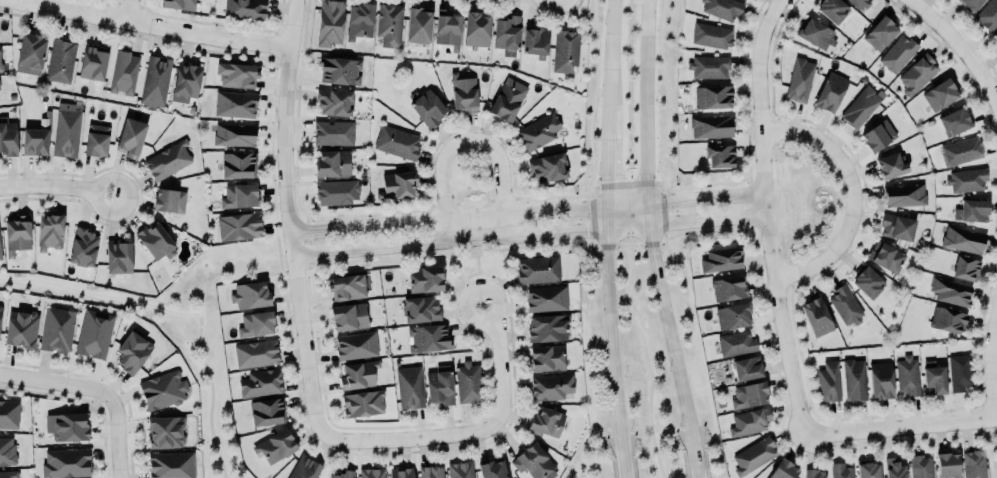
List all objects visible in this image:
building: (859, 3)
building: (178, 4)
building: (971, 4)
building: (245, 8)
building: (723, 8)
road: (126, 9)
building: (833, 9)
building: (988, 15)
building: (359, 20)
building: (330, 22)
road: (151, 23)
building: (418, 24)
building: (389, 25)
building: (447, 27)
building: (477, 29)
building: (816, 33)
building: (881, 33)
building: (507, 34)
building: (712, 34)
building: (995, 36)
building: (535, 40)
road: (959, 48)
building: (565, 50)
building: (30, 53)
building: (898, 53)
building: (0, 60)
building: (61, 60)
road: (610, 60)
building: (93, 62)
building: (709, 66)
building: (340, 70)
building: (124, 72)
building: (237, 74)
building: (918, 74)
building: (800, 79)
building: (156, 80)
building: (186, 81)
building: (831, 91)
building: (463, 93)
building: (940, 94)
building: (713, 96)
building: (508, 99)
building: (335, 102)
building: (235, 104)
building: (862, 106)
building: (428, 108)
building: (955, 121)
road: (469, 125)
building: (711, 126)
building: (67, 129)
building: (538, 131)
building: (333, 132)
building: (234, 134)
building: (878, 135)
building: (8, 136)
building: (131, 137)
building: (36, 139)
building: (96, 139)
road: (467, 140)
building: (397, 142)
building: (961, 150)
building: (720, 155)
road: (794, 156)
building: (168, 160)
road: (606, 161)
building: (332, 162)
building: (238, 164)
building: (892, 164)
building: (548, 167)
building: (967, 180)
road: (643, 182)
road: (710, 183)
road: (56, 184)
building: (399, 184)
road: (469, 189)
road: (815, 190)
building: (337, 191)
road: (852, 193)
building: (904, 194)
building: (240, 195)
road: (535, 199)
building: (169, 200)
road: (526, 209)
building: (972, 210)
road: (354, 215)
road: (606, 216)
road: (766, 216)
road: (289, 218)
building: (239, 226)
road: (651, 226)
building: (897, 226)
building: (18, 232)
building: (50, 232)
road: (714, 232)
road: (529, 235)
building: (963, 239)
building: (156, 241)
road: (806, 245)
building: (83, 247)
building: (0, 255)
road: (444, 255)
building: (119, 256)
building: (886, 256)
building: (722, 259)
building: (966, 268)
building: (538, 269)
building: (425, 278)
road: (480, 281)
building: (868, 282)
building: (346, 286)
building: (728, 288)
road: (100, 291)
building: (950, 291)
building: (250, 294)
building: (546, 298)
building: (846, 305)
building: (420, 308)
building: (0, 311)
building: (733, 315)
building: (349, 316)
building: (817, 316)
building: (947, 319)
building: (256, 324)
building: (548, 327)
building: (21, 328)
building: (57, 329)
building: (94, 333)
road: (200, 333)
building: (429, 337)
road: (614, 343)
building: (737, 343)
building: (356, 345)
building: (133, 350)
building: (256, 353)
building: (547, 357)
road: (646, 360)
building: (747, 367)
road: (992, 368)
building: (960, 371)
building: (358, 374)
building: (908, 375)
building: (934, 377)
road: (107, 378)
building: (854, 379)
building: (881, 380)
road: (58, 381)
building: (829, 381)
building: (468, 382)
building: (261, 383)
building: (440, 385)
building: (409, 386)
building: (551, 386)
building: (163, 389)
building: (749, 394)
building: (363, 403)
building: (267, 411)
building: (9, 413)
building: (547, 421)
building: (750, 421)
road: (901, 425)
building: (67, 426)
building: (166, 431)
road: (471, 433)
road: (119, 438)
road: (990, 448)
building: (7, 450)
building: (754, 455)
building: (533, 461)
building: (66, 462)
building: (171, 464)
road: (695, 464)
building: (974, 464)
building: (948, 465)
building: (921, 466)
building: (305, 468)
road: (626, 468)
building: (894, 468)
building: (461, 469)
building: (493, 469)
building: (783, 470)
building: (841, 470)
building: (868, 470)
building: (432, 471)
building: (402, 472)
building: (371, 473)
building: (815, 473)
building: (8, 474)
building: (340, 474)

